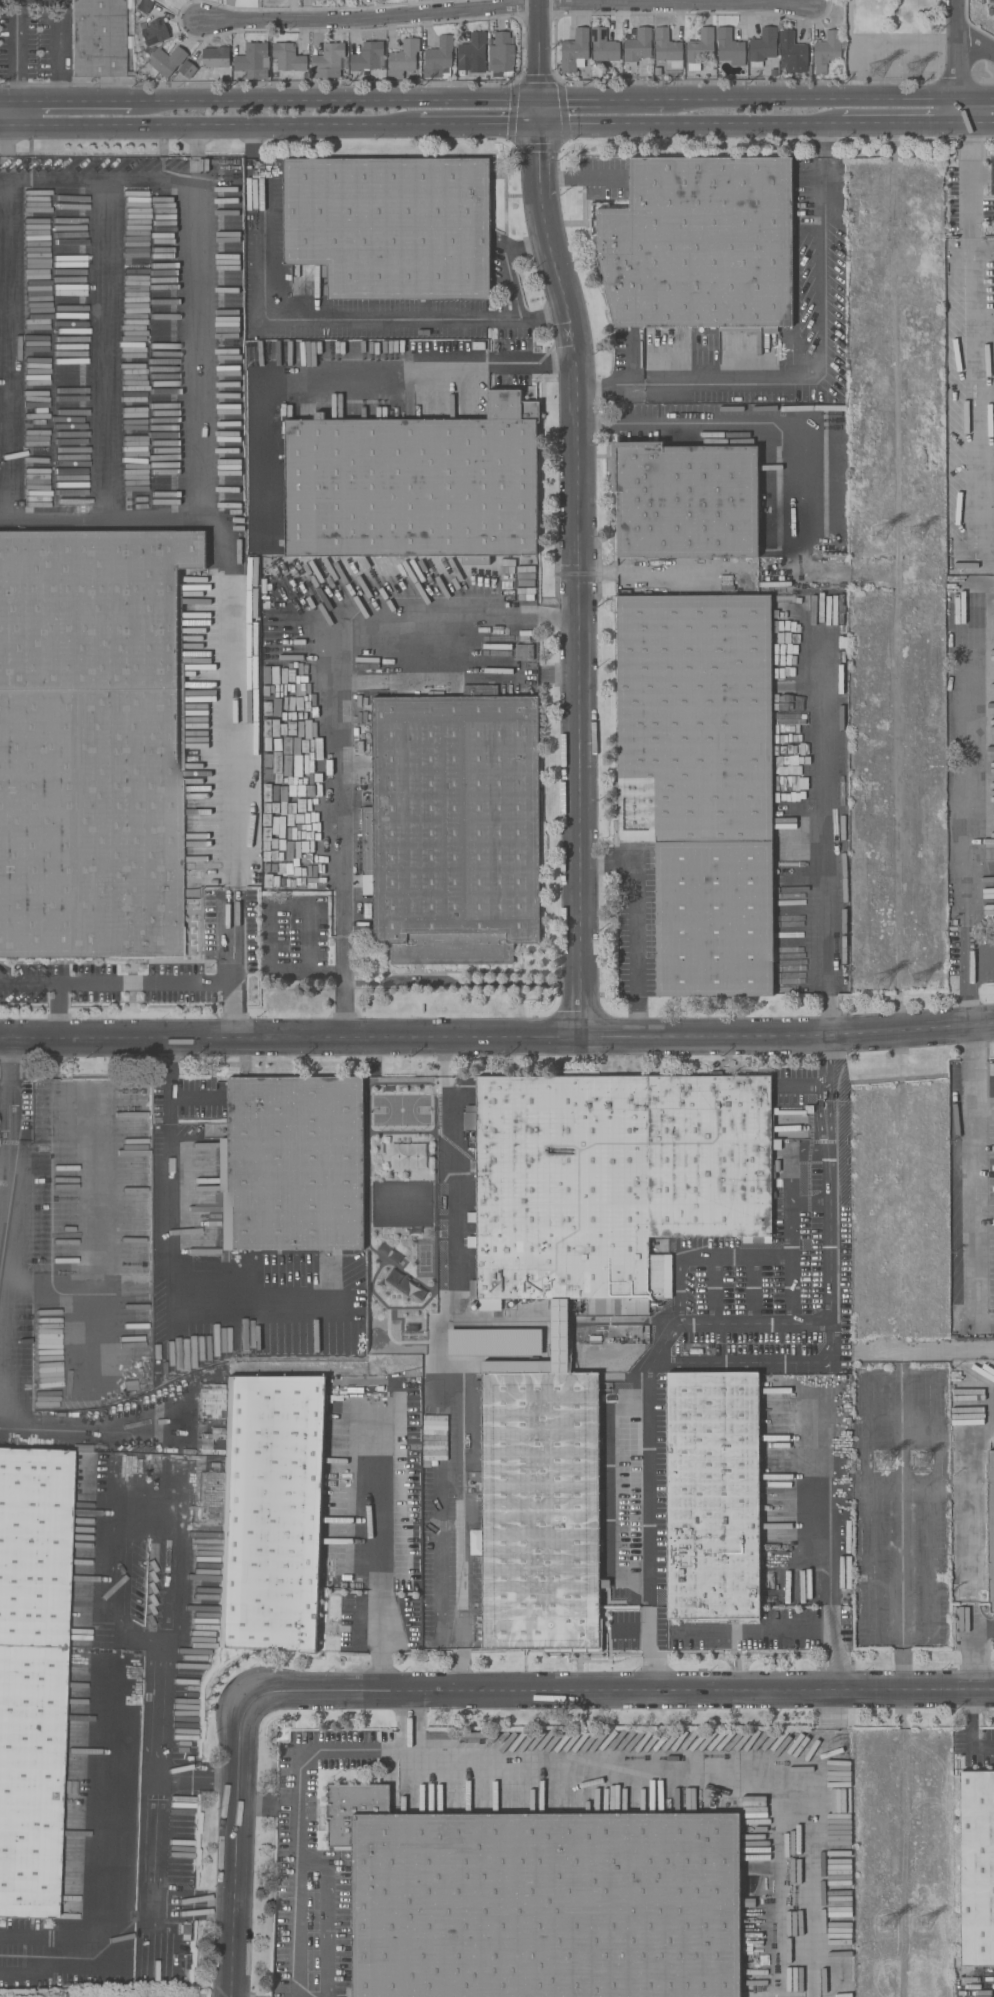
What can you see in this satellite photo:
building: (144, 6)
road: (508, 7)
road: (57, 23)
building: (154, 32)
park: (894, 37)
building: (97, 38)
road: (977, 43)
building: (638, 45)
building: (603, 47)
building: (729, 47)
building: (763, 47)
building: (700, 48)
building: (667, 49)
building: (575, 50)
building: (826, 51)
building: (503, 52)
building: (792, 52)
building: (472, 53)
building: (215, 57)
building: (288, 57)
building: (368, 57)
building: (439, 58)
building: (403, 59)
building: (253, 61)
building: (330, 61)
building: (164, 62)
road: (538, 64)
road: (960, 64)
road: (15, 65)
building: (187, 69)
power tower: (883, 72)
power tower: (920, 73)
road: (977, 98)
road: (7, 99)
road: (334, 99)
traffic signals: (539, 99)
road: (601, 99)
road: (812, 99)
road: (71, 100)
road: (690, 127)
road: (901, 127)
road: (3, 128)
traffic signals: (540, 128)
road: (977, 128)
road: (209, 129)
road: (477, 129)
road: (196, 152)
road: (5, 153)
road: (981, 175)
road: (97, 178)
road: (582, 178)
road: (969, 183)
building: (392, 225)
building: (701, 244)
road: (505, 264)
road: (361, 320)
road: (823, 346)
road: (290, 364)
road: (531, 364)
road: (607, 386)
road: (972, 408)
road: (748, 423)
road: (197, 443)
building: (415, 487)
building: (685, 502)
power tower: (920, 535)
power tower: (882, 540)
road: (581, 578)
building: (523, 652)
road: (230, 696)
building: (92, 743)
road: (339, 780)
building: (701, 781)
road: (967, 813)
road: (827, 817)
building: (454, 826)
road: (271, 923)
road: (635, 923)
road: (231, 933)
road: (980, 956)
power tower: (924, 977)
road: (144, 979)
road: (28, 981)
power tower: (888, 983)
road: (461, 984)
road: (290, 1033)
road: (787, 1035)
road: (826, 1044)
road: (5, 1095)
road: (818, 1102)
road: (829, 1102)
road: (453, 1159)
road: (981, 1159)
building: (294, 1166)
building: (612, 1182)
road: (171, 1257)
road: (10, 1298)
building: (511, 1308)
road: (659, 1348)
building: (499, 1349)
railway: (346, 1371)
building: (211, 1391)
road: (989, 1392)
building: (434, 1437)
power tower: (925, 1461)
power tower: (886, 1466)
building: (714, 1494)
building: (542, 1510)
building: (272, 1511)
building: (990, 1526)
road: (378, 1548)
road: (830, 1563)
building: (792, 1580)
road: (437, 1601)
road: (109, 1626)
road: (752, 1631)
road: (976, 1653)
building: (31, 1673)
road: (618, 1697)
road: (409, 1724)
road: (969, 1734)
road: (631, 1758)
road: (138, 1765)
road: (296, 1802)
road: (239, 1849)
building: (976, 1870)
building: (539, 1902)
road: (326, 1913)
power tower: (929, 1925)
power tower: (892, 1926)
road: (291, 1928)
road: (38, 1939)

